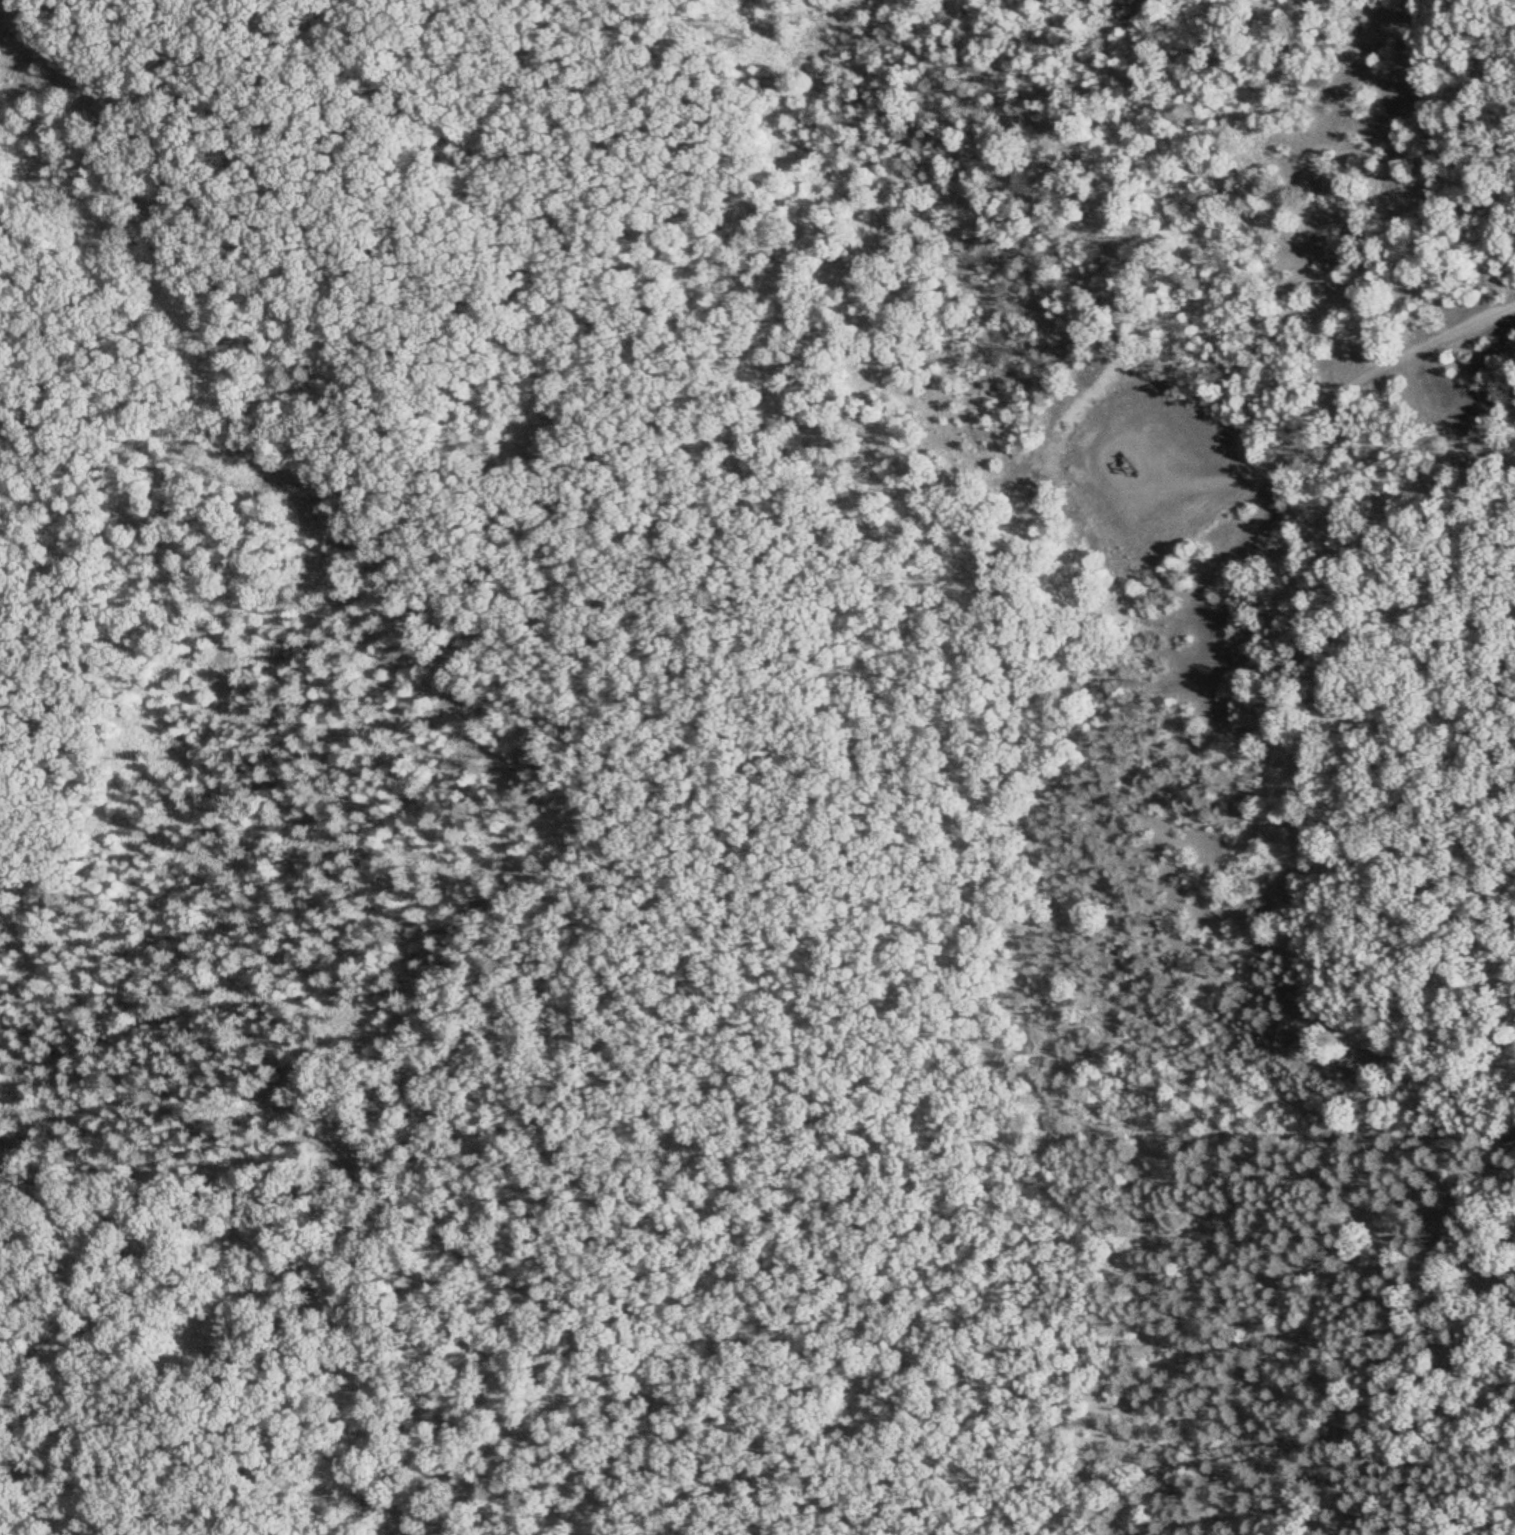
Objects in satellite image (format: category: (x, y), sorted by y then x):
road: (1365, 378)
petroleum well: (1129, 467)

